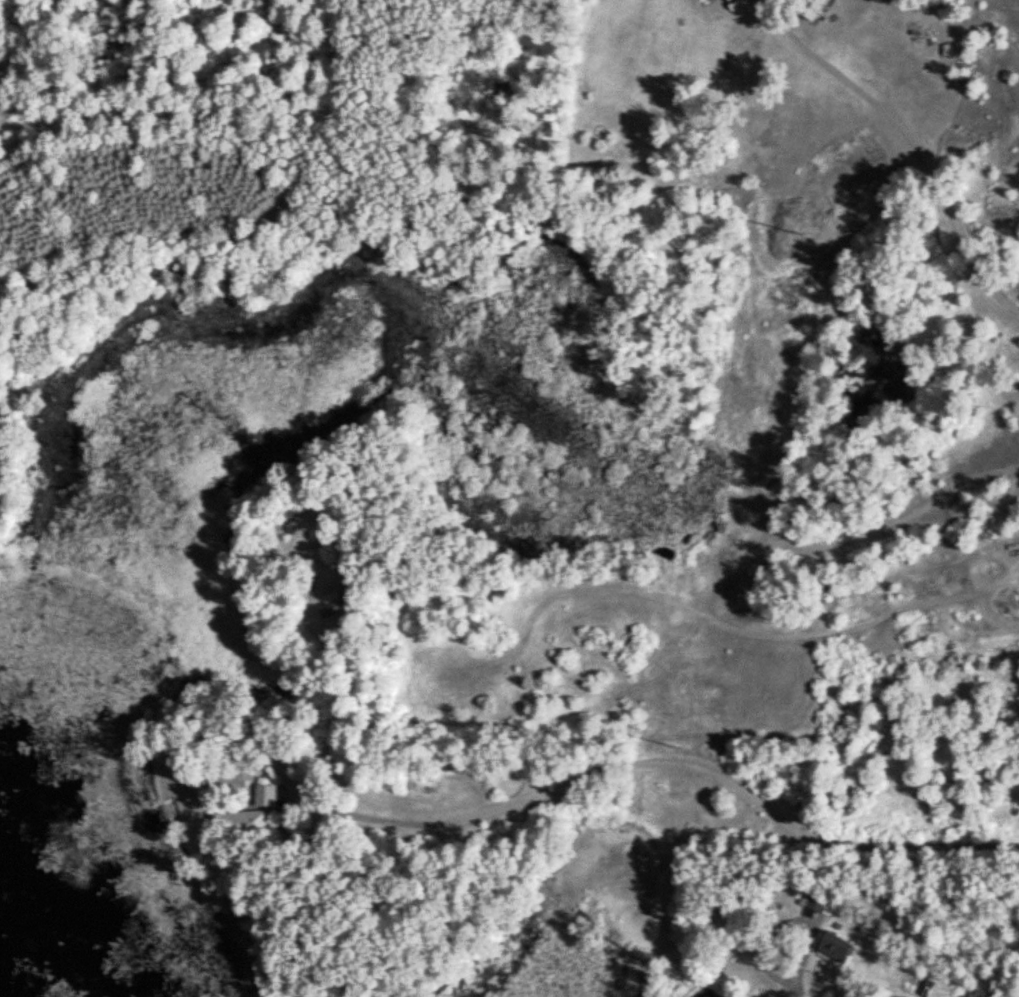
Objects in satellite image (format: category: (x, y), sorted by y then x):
building: (810, 8)
road: (911, 143)
power tower: (800, 229)
building: (336, 608)
power tower: (677, 746)
road: (660, 764)
building: (265, 794)
building: (240, 820)
building: (818, 899)
building: (835, 945)

